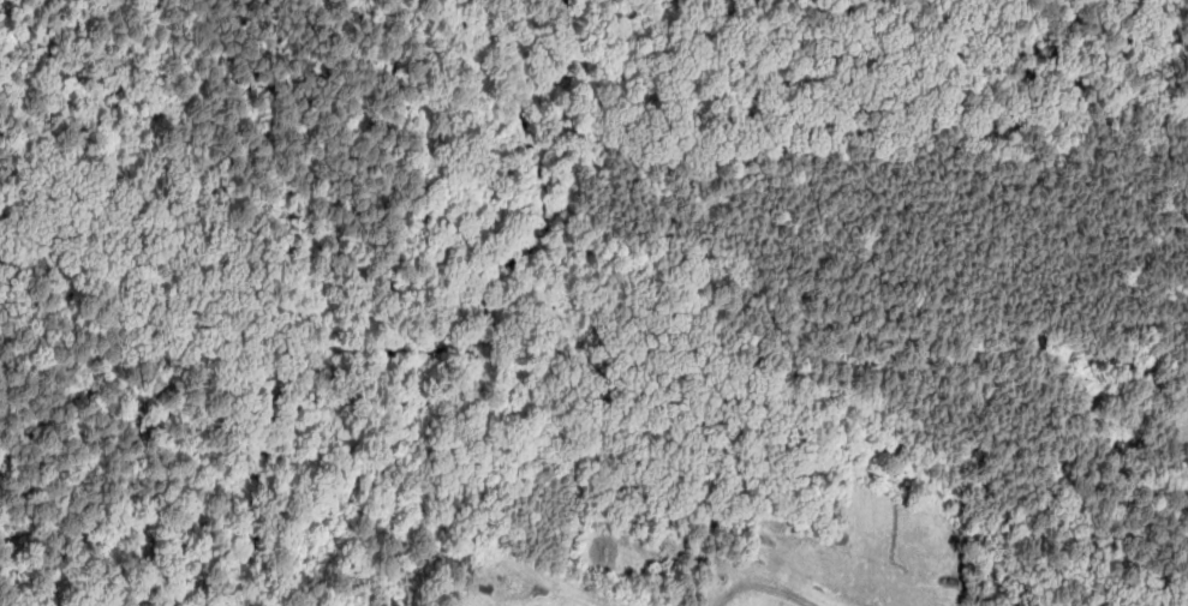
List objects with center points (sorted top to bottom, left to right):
parking lot: (575, 605)

